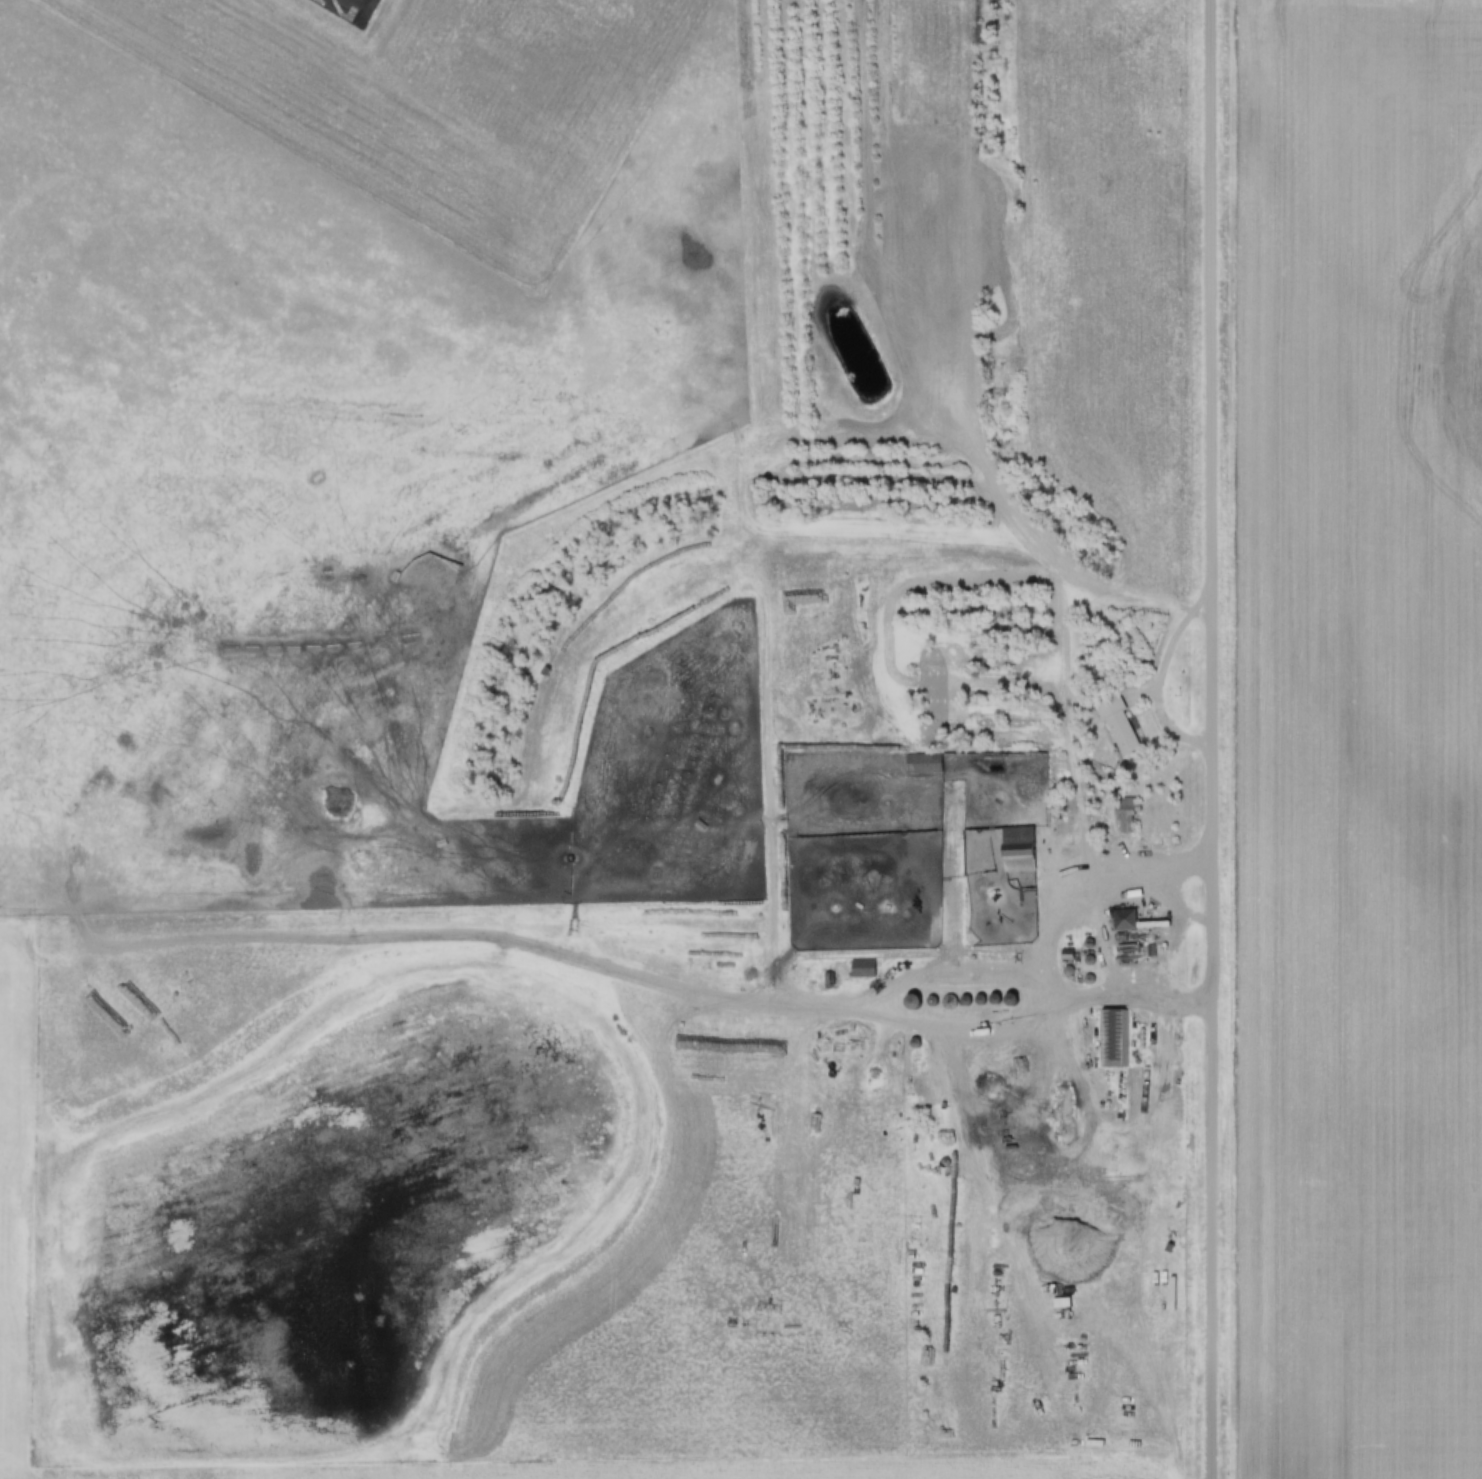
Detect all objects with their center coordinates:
airport runway: (346, 4)
airport: (424, 100)
building: (1130, 729)
building: (1118, 734)
road: (1212, 739)
building: (930, 759)
building: (919, 767)
building: (1027, 847)
building: (964, 873)
building: (953, 879)
building: (1133, 915)
building: (1122, 923)
building: (869, 965)
building: (860, 971)
building: (1121, 1035)

